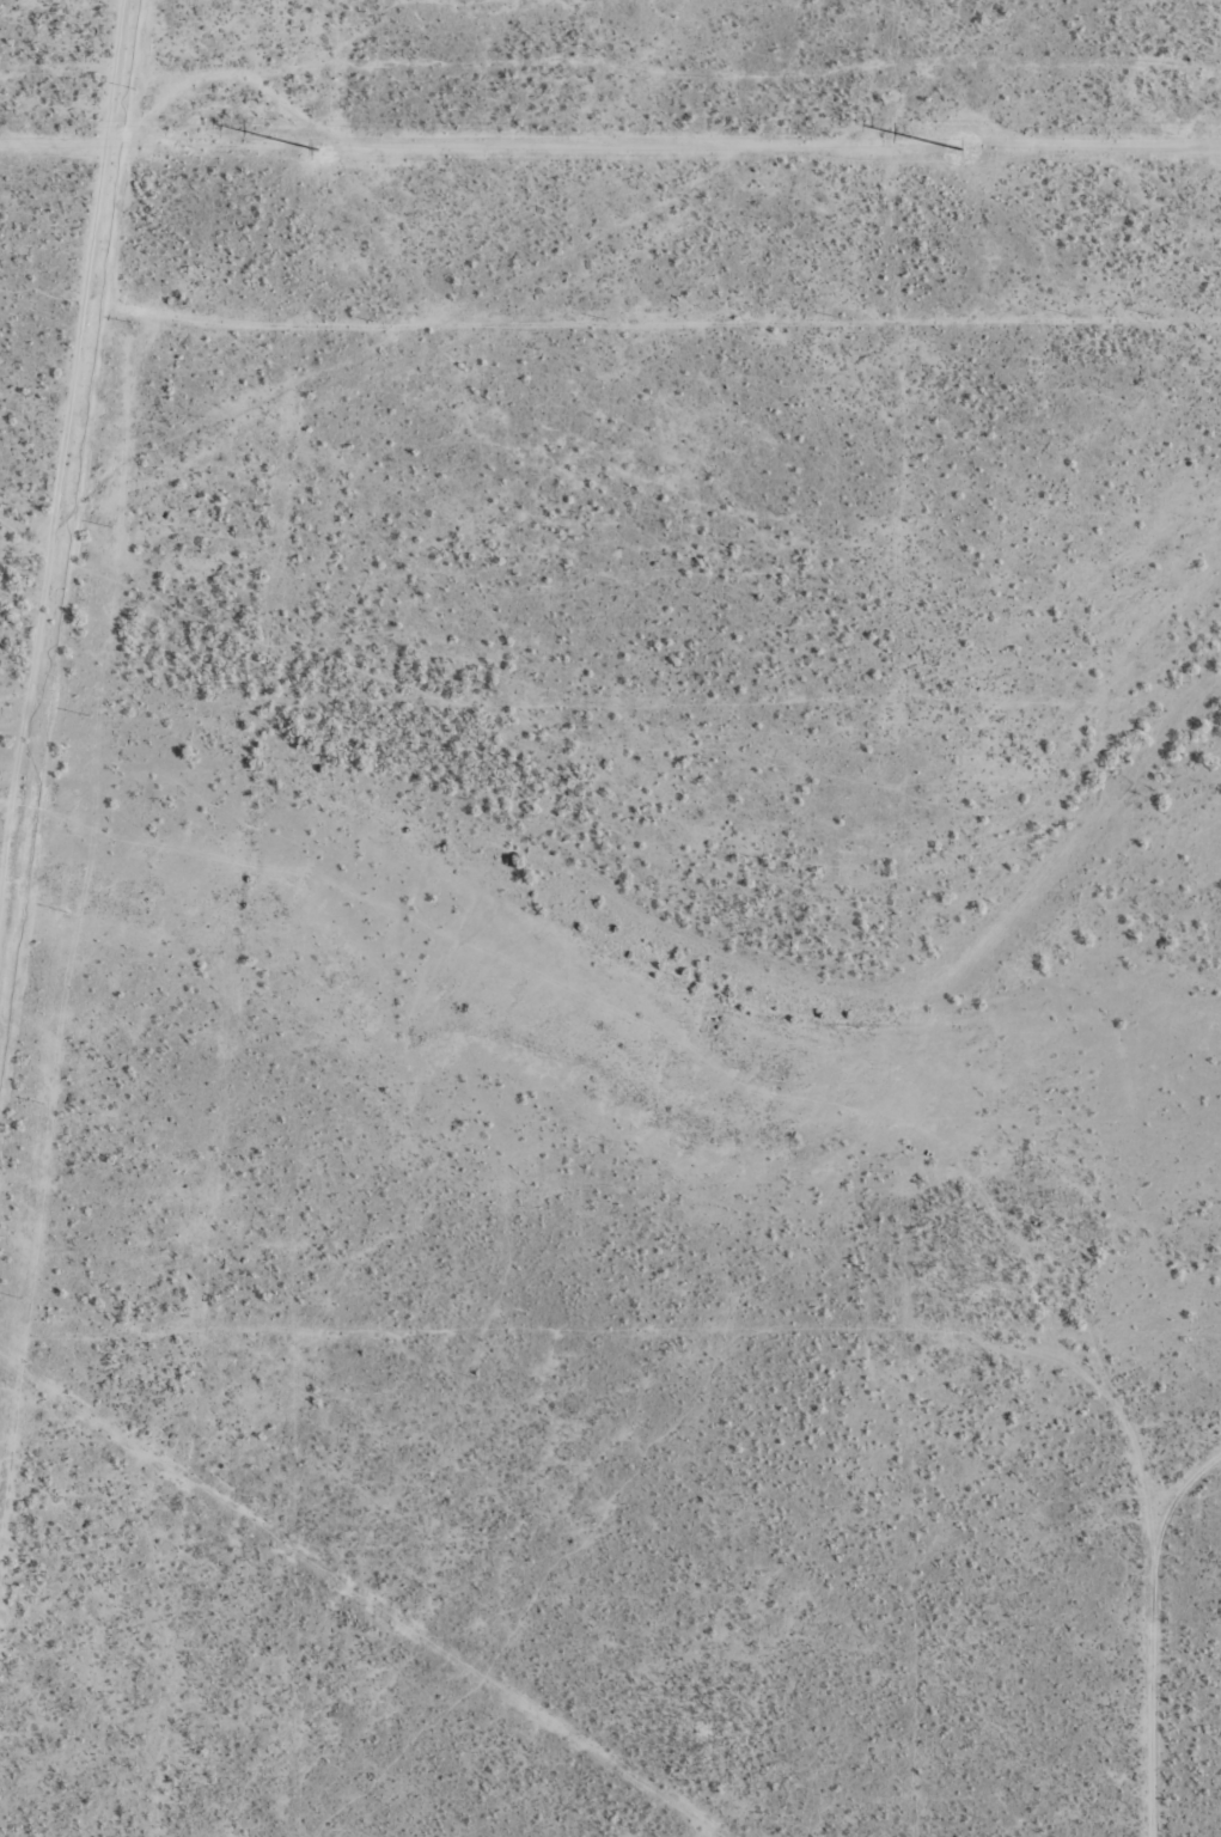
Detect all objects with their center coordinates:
road: (1168, 1655)

